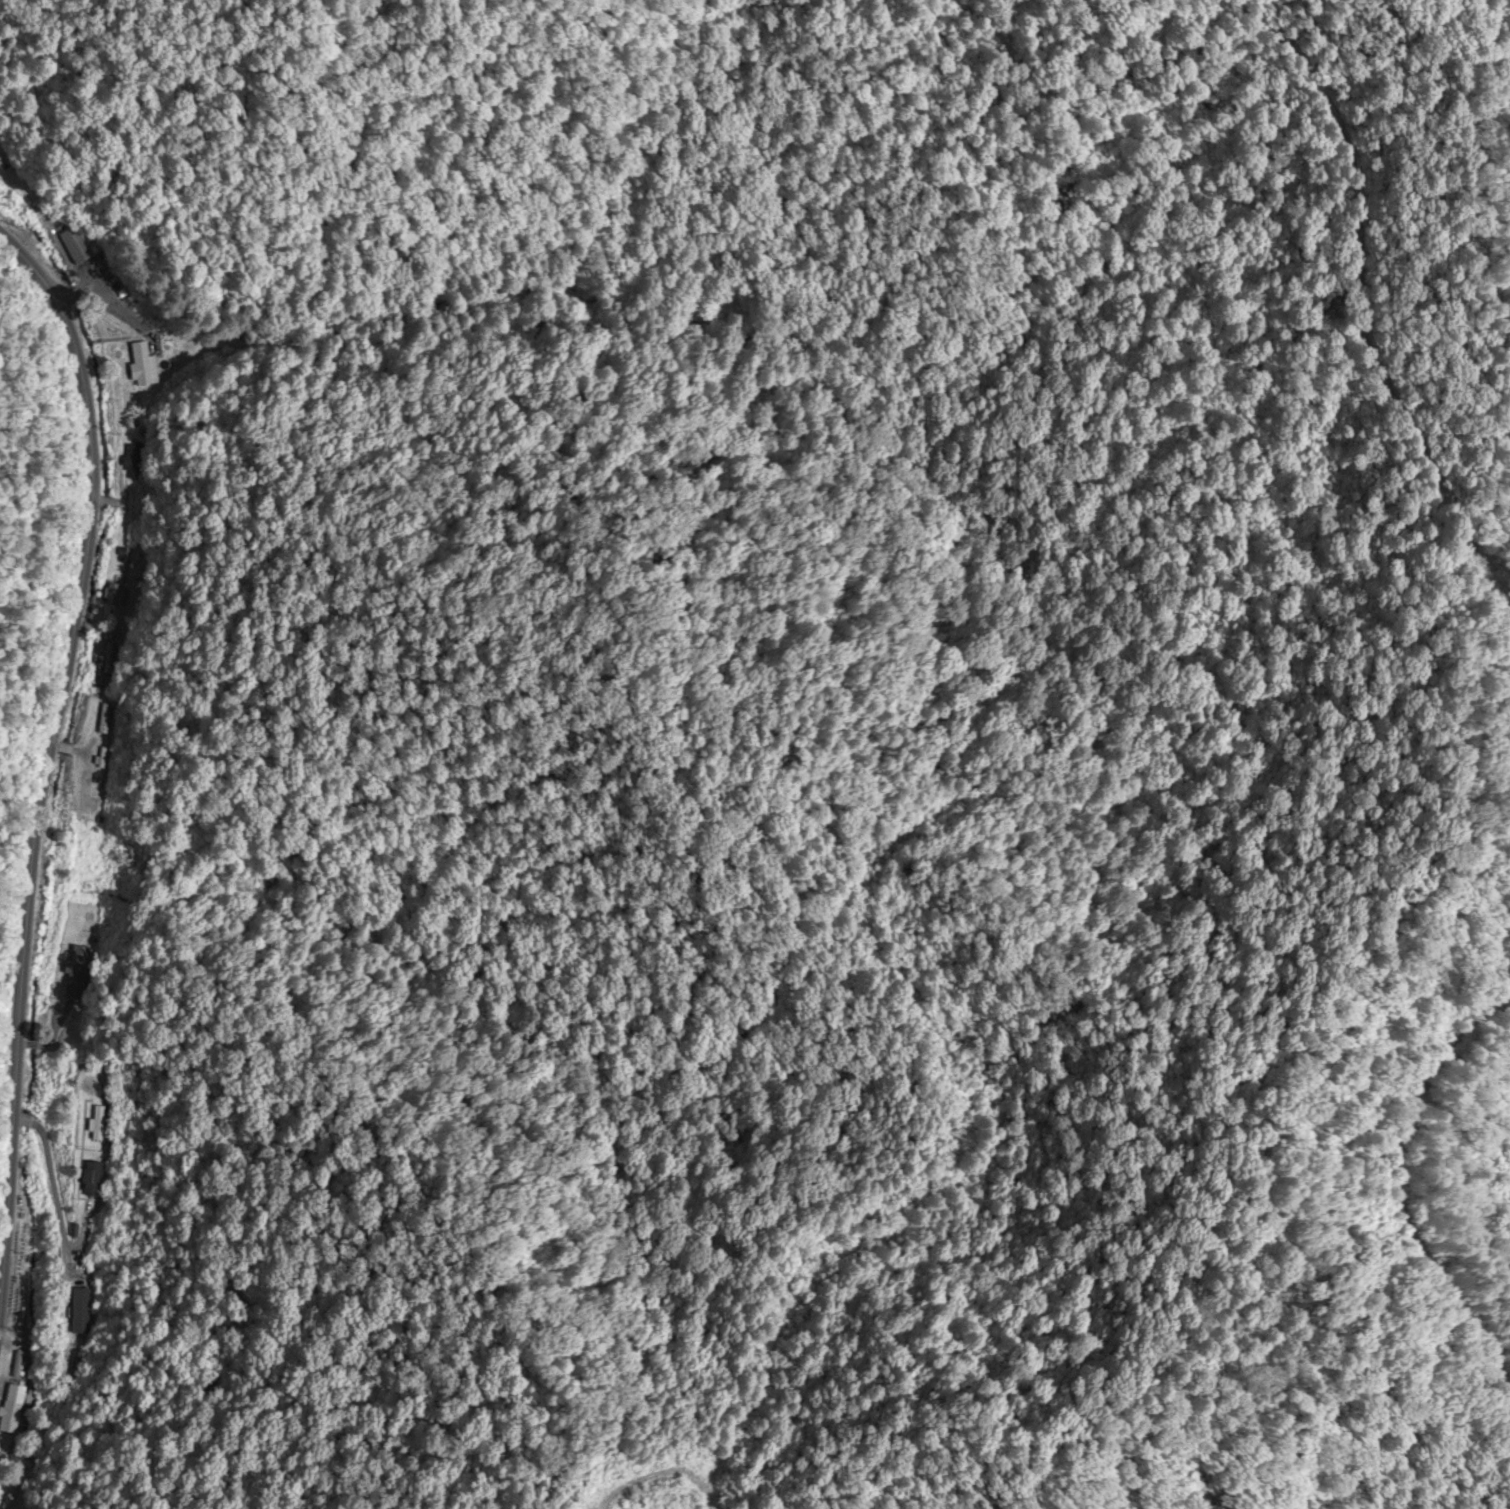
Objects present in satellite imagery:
building: (74, 242)
building: (144, 364)
building: (131, 463)
road: (48, 757)
building: (97, 1123)
building: (92, 1179)
building: (9, 1408)

